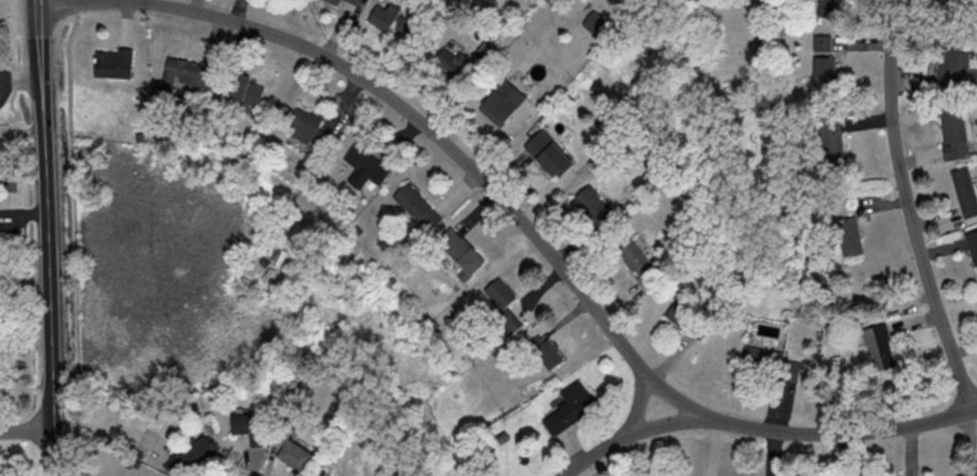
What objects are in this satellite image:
building: (337, 1)
building: (358, 1)
building: (826, 8)
building: (957, 8)
building: (394, 20)
building: (820, 42)
building: (451, 61)
building: (115, 63)
building: (949, 67)
building: (822, 70)
building: (190, 75)
building: (246, 89)
building: (507, 101)
building: (309, 127)
building: (951, 132)
building: (829, 141)
building: (552, 154)
building: (367, 166)
road: (26, 179)
building: (964, 192)
building: (420, 206)
building: (594, 206)
road: (909, 210)
road: (518, 221)
building: (847, 236)
road: (45, 237)
building: (972, 247)
building: (463, 250)
building: (635, 262)
building: (503, 308)
building: (687, 318)
building: (877, 346)
building: (547, 352)
building: (572, 408)
building: (252, 427)
road: (26, 431)
road: (618, 438)
building: (297, 455)
building: (193, 457)

